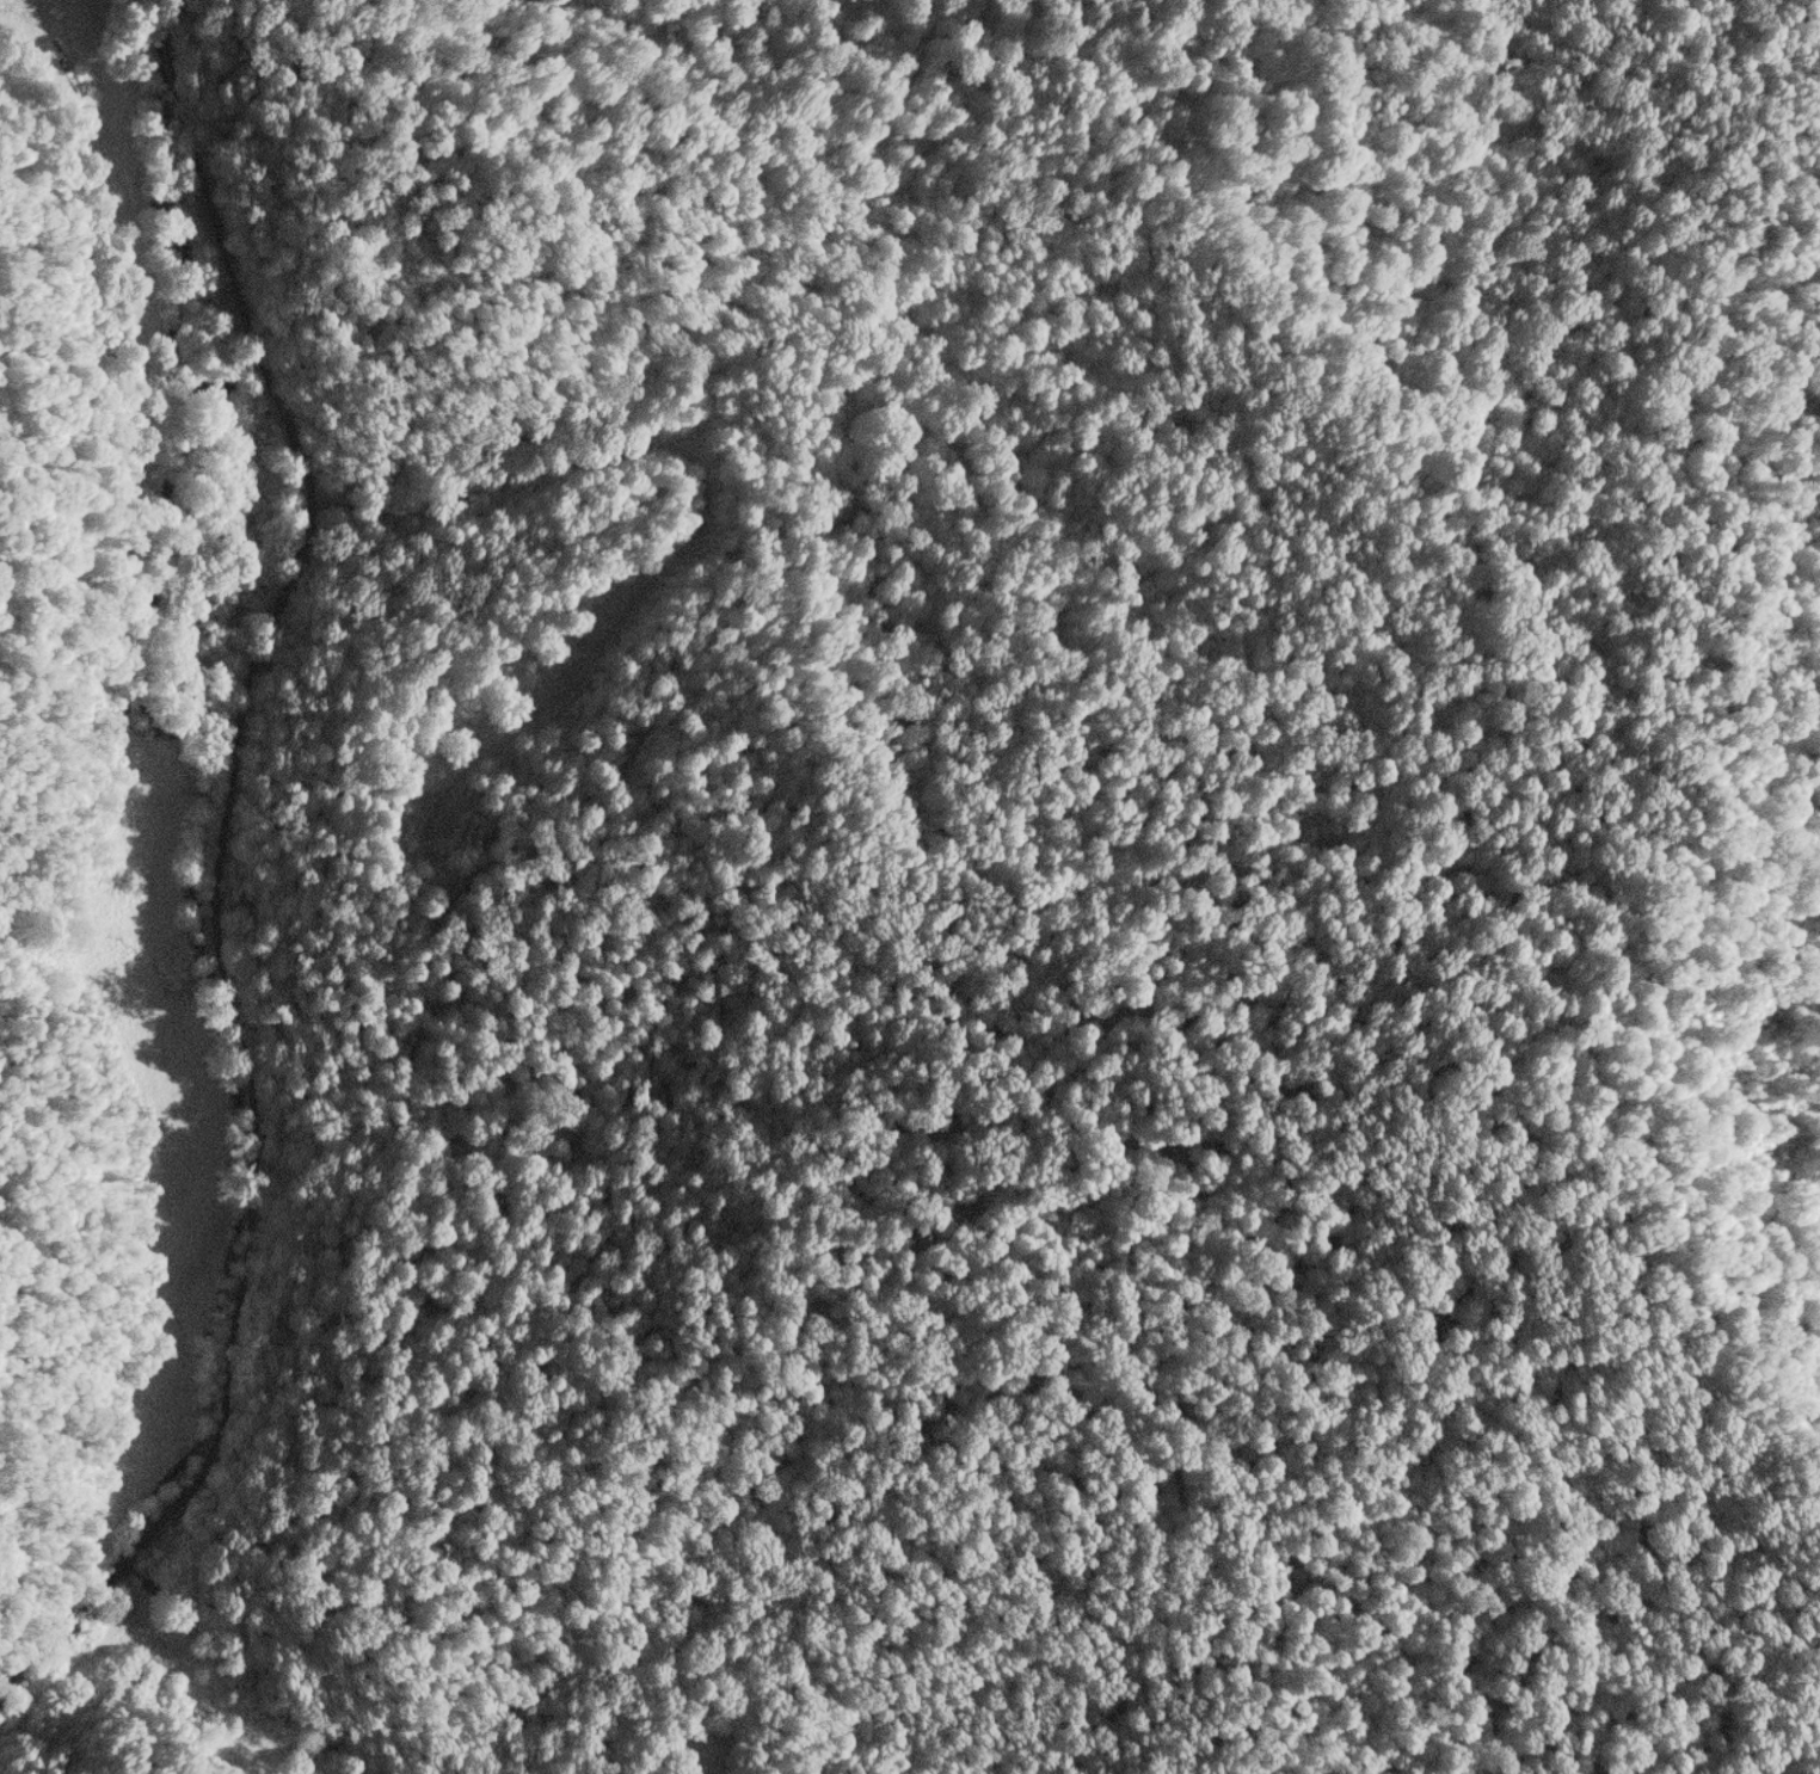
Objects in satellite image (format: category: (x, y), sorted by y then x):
road: (652, 441)
road: (227, 882)

